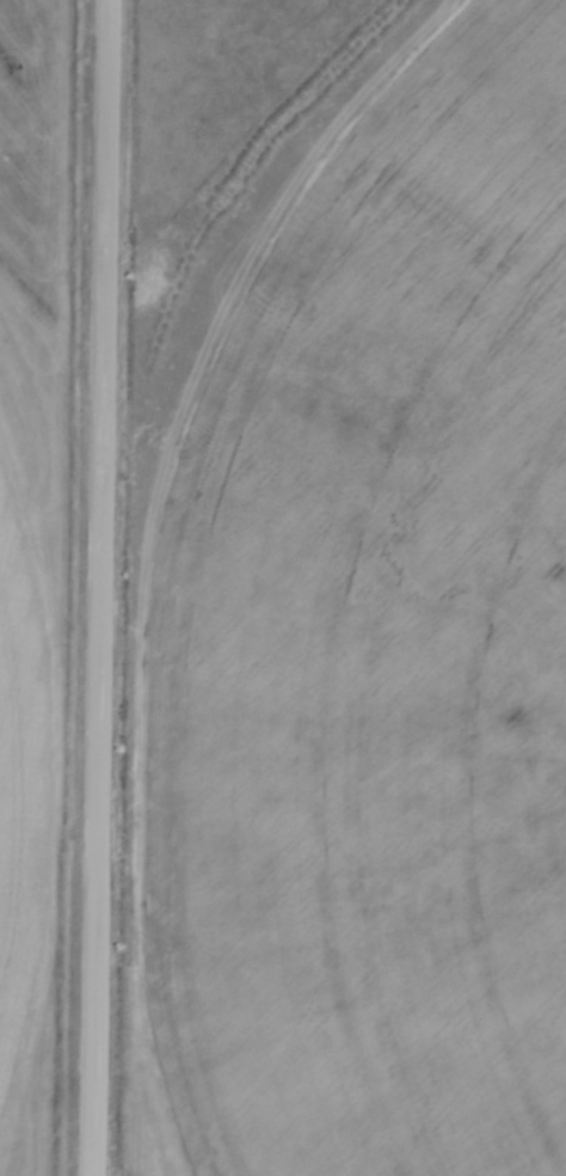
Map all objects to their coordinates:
road: (99, 587)

